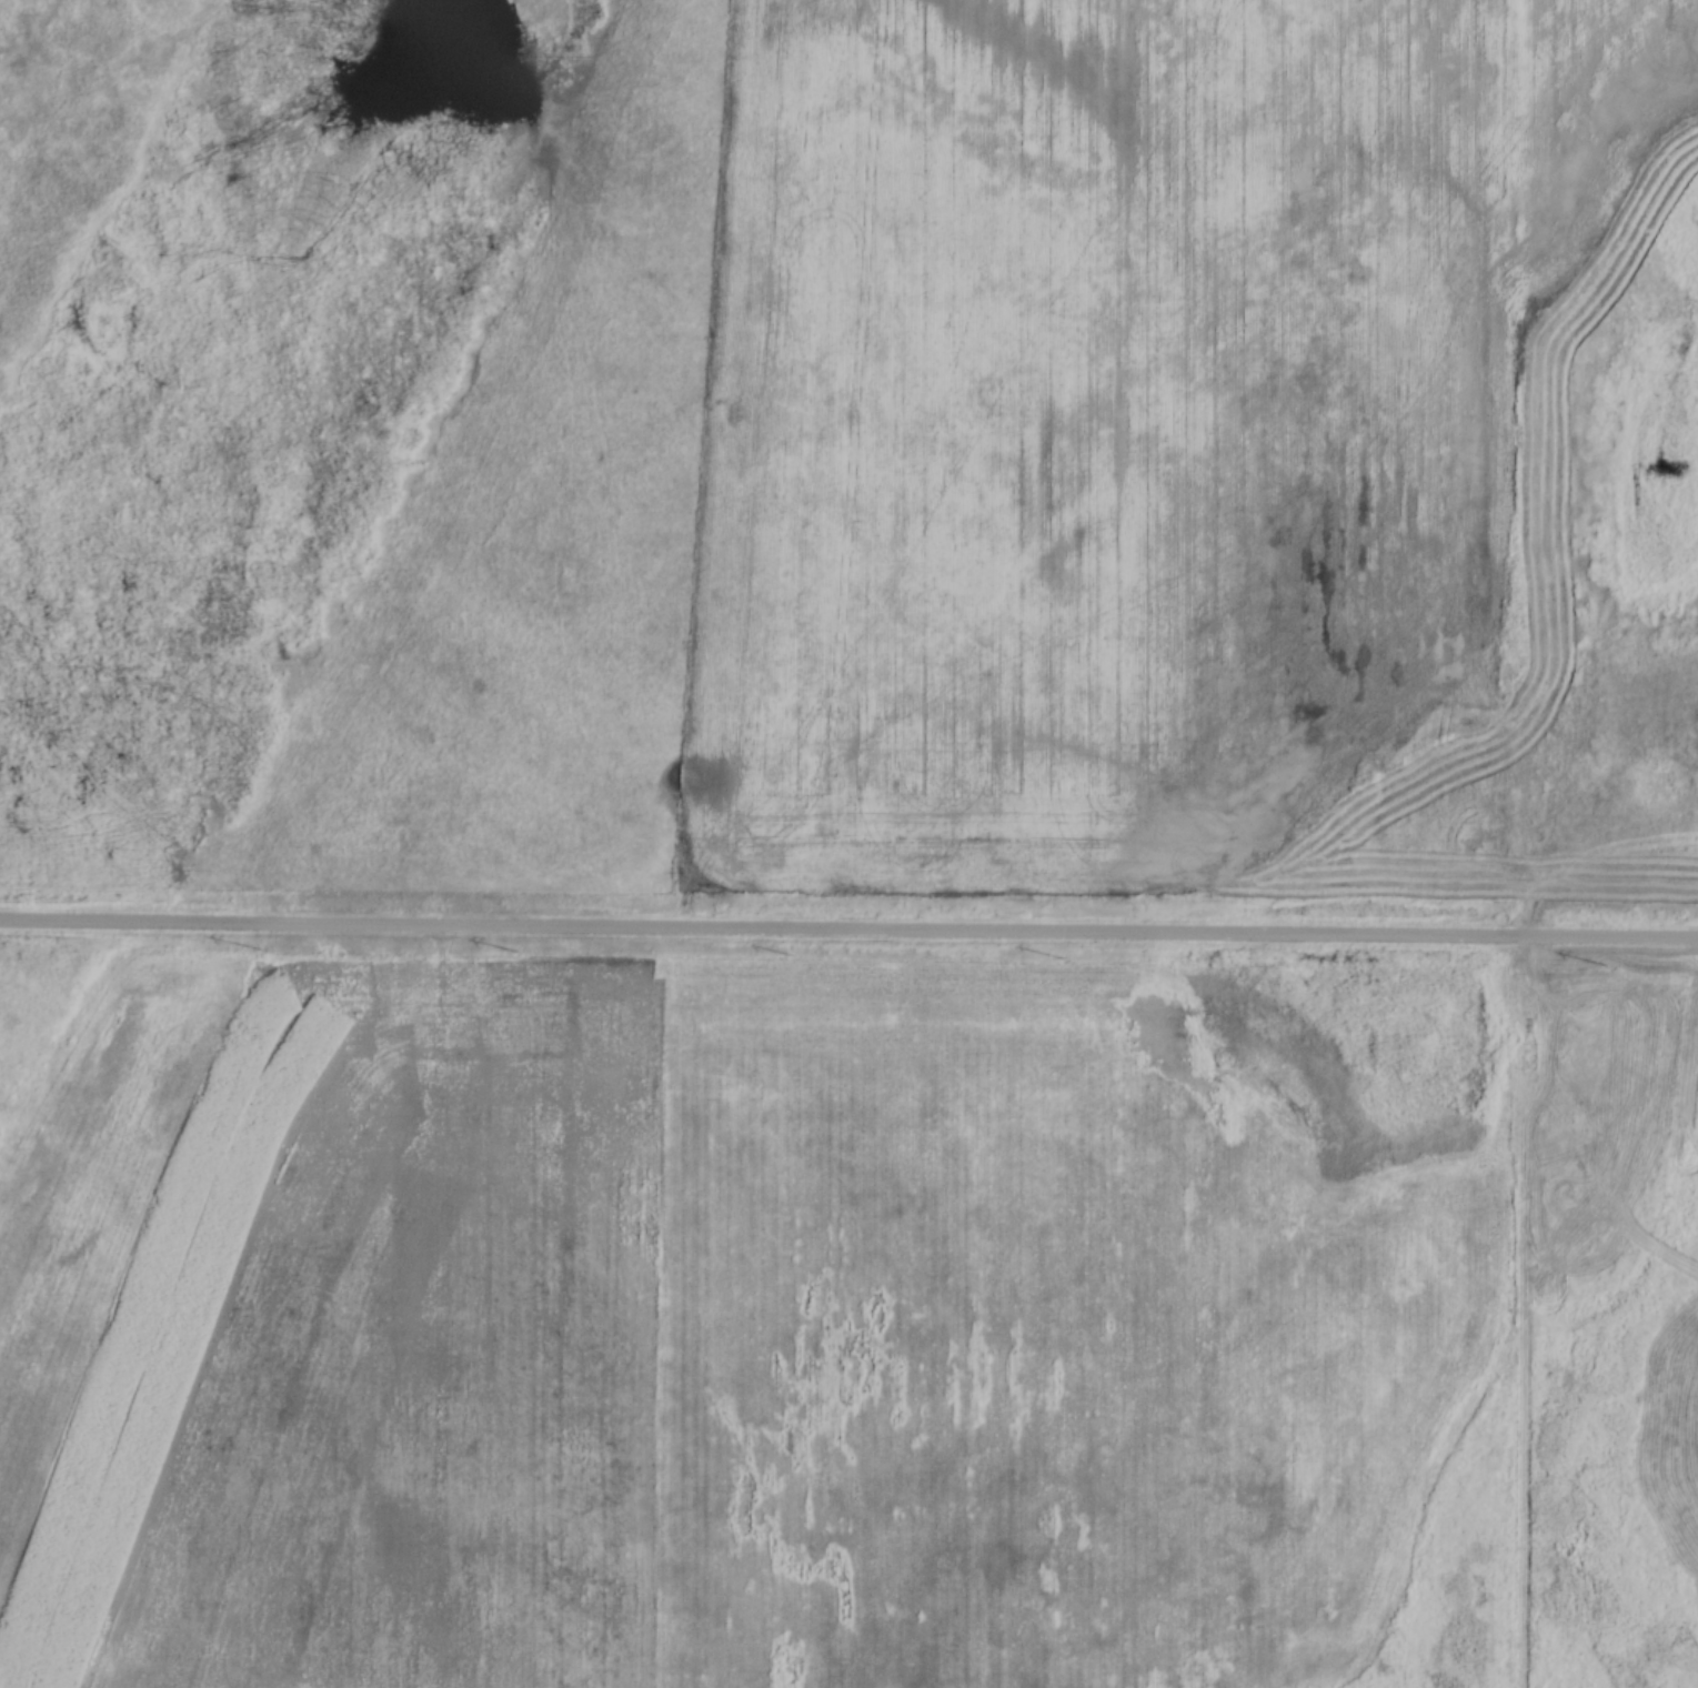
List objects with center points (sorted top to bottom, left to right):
road: (848, 930)
power tower: (1062, 958)

